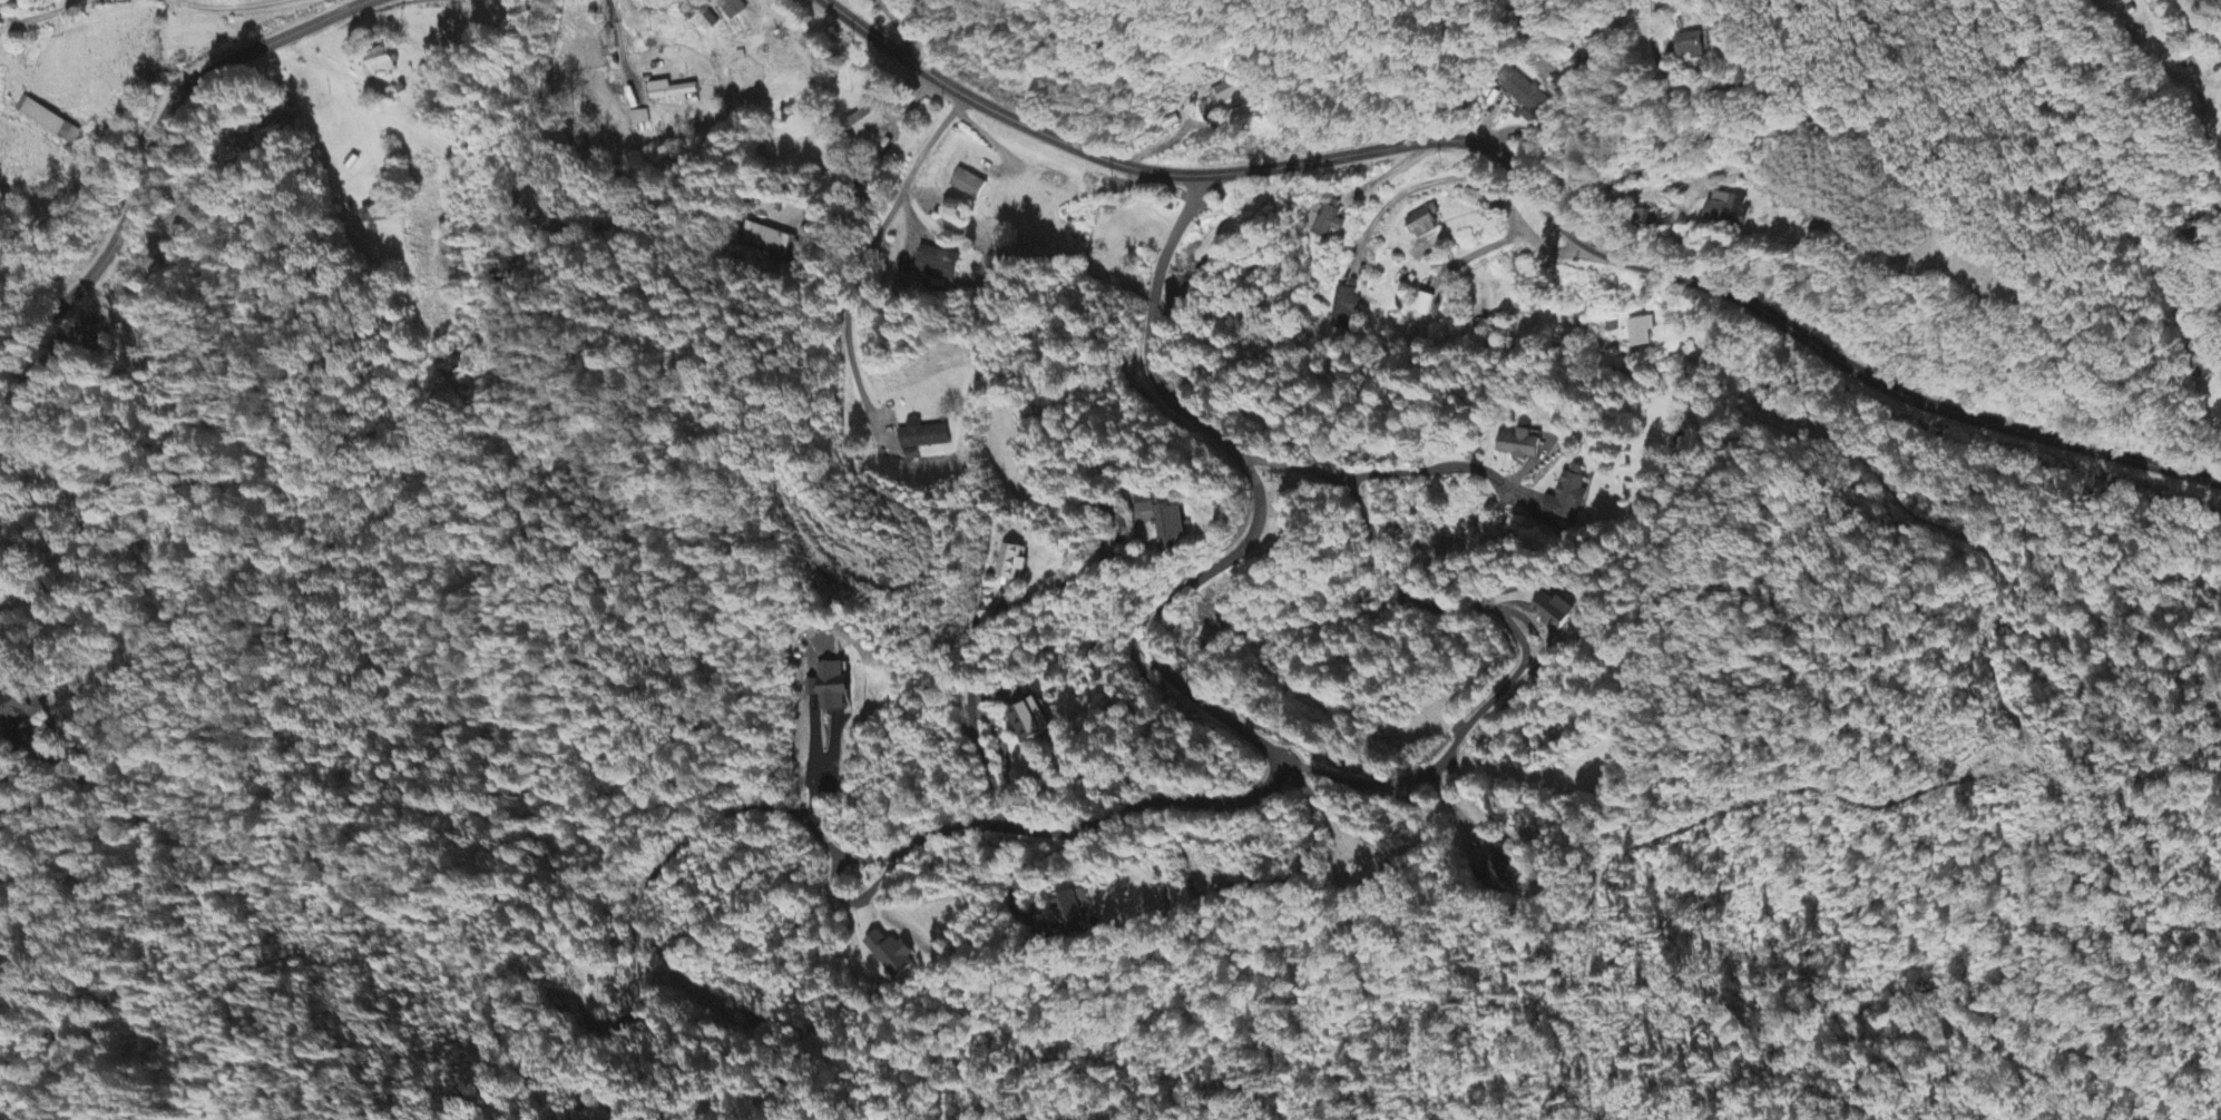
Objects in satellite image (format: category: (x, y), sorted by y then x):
building: (730, 9)
road: (2202, 19)
building: (1693, 47)
building: (380, 63)
building: (671, 92)
building: (1526, 98)
building: (1222, 102)
building: (638, 119)
building: (47, 121)
building: (864, 122)
road: (154, 143)
road: (1687, 148)
road: (1527, 179)
building: (967, 186)
building: (1470, 199)
building: (1728, 212)
road: (890, 213)
building: (370, 216)
building: (1324, 219)
building: (1422, 224)
building: (767, 242)
road: (1907, 262)
building: (937, 265)
park: (1995, 279)
building: (1423, 305)
building: (1344, 308)
building: (1640, 333)
building: (922, 438)
building: (1522, 446)
road: (1421, 472)
building: (1568, 498)
building: (1165, 523)
building: (1012, 564)
road: (1012, 609)
building: (1556, 613)
road: (1508, 622)
road: (1155, 652)
building: (831, 689)
building: (18, 709)
building: (1031, 724)
road: (681, 848)
road: (869, 858)
building: (1504, 866)
road: (857, 900)
building: (1072, 916)
building: (891, 956)

